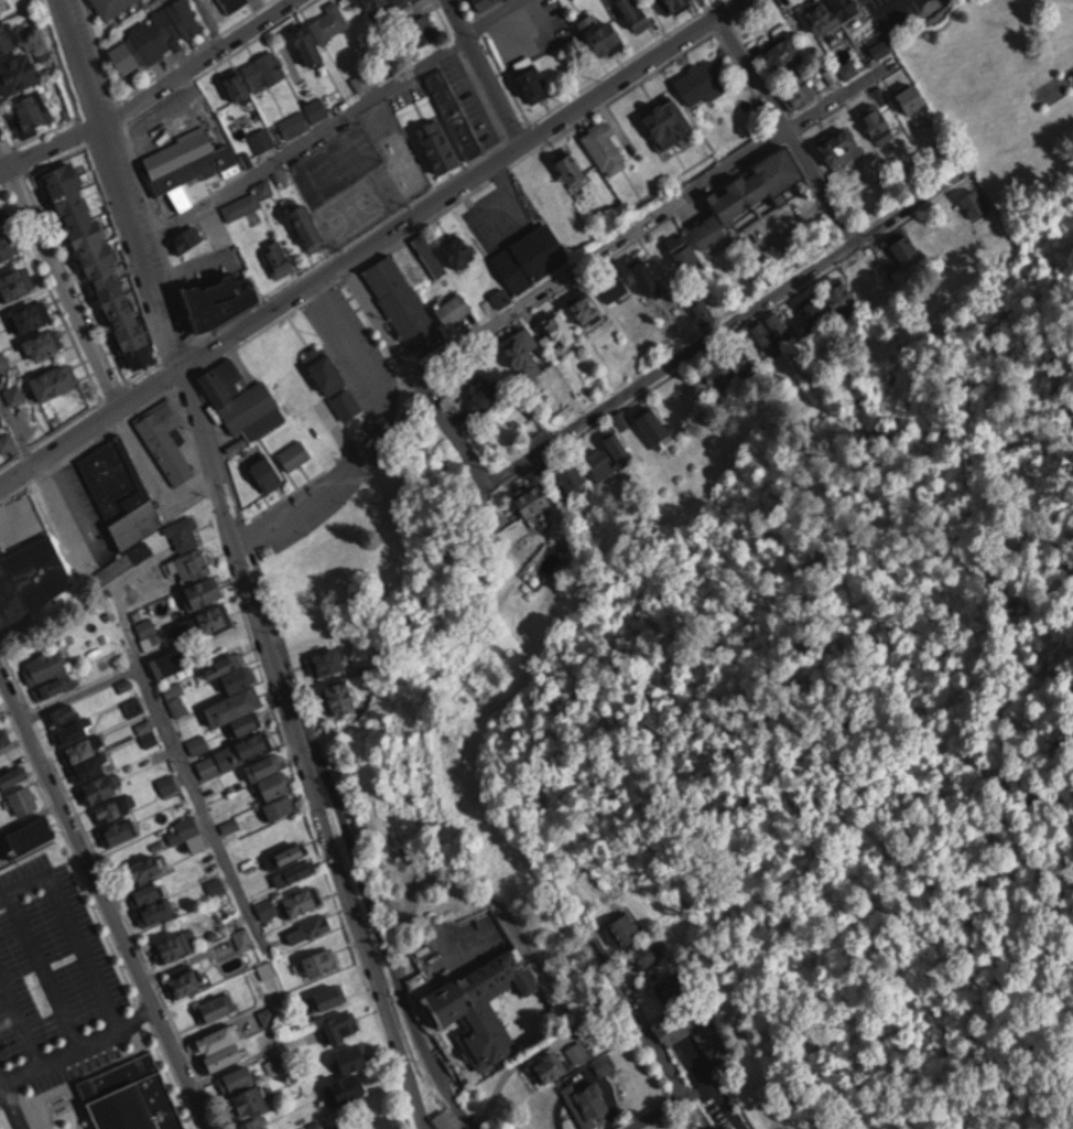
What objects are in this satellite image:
building: (358, 0)
building: (485, 2)
building: (234, 4)
building: (380, 4)
building: (673, 4)
building: (112, 6)
building: (1, 8)
building: (833, 12)
building: (637, 13)
road: (214, 23)
building: (422, 29)
building: (321, 31)
building: (603, 32)
building: (155, 35)
building: (8, 36)
building: (785, 53)
building: (847, 68)
building: (19, 72)
road: (486, 72)
building: (375, 73)
building: (256, 74)
building: (533, 78)
building: (702, 82)
road: (149, 90)
building: (800, 95)
building: (912, 96)
building: (317, 107)
building: (33, 110)
building: (455, 112)
building: (878, 119)
building: (669, 120)
building: (295, 122)
road: (330, 122)
road: (793, 122)
building: (263, 138)
building: (839, 143)
building: (440, 144)
building: (606, 148)
building: (184, 165)
building: (571, 165)
park: (339, 166)
road: (122, 181)
building: (759, 183)
building: (554, 191)
building: (248, 200)
park: (361, 202)
building: (974, 202)
building: (2, 212)
road: (651, 218)
building: (310, 225)
building: (709, 230)
building: (926, 233)
building: (185, 238)
road: (370, 244)
building: (8, 245)
building: (904, 247)
building: (460, 249)
building: (684, 249)
building: (430, 252)
building: (531, 255)
building: (278, 257)
building: (101, 266)
building: (647, 275)
road: (56, 277)
building: (870, 280)
building: (15, 281)
building: (613, 284)
building: (842, 298)
building: (224, 299)
building: (401, 300)
building: (584, 304)
building: (454, 308)
building: (704, 310)
building: (813, 310)
building: (32, 315)
road: (728, 321)
building: (770, 330)
building: (557, 332)
building: (43, 344)
building: (522, 348)
road: (422, 365)
building: (730, 370)
building: (329, 374)
building: (56, 380)
building: (15, 393)
building: (239, 396)
building: (0, 415)
road: (18, 422)
building: (653, 423)
road: (370, 433)
building: (8, 442)
building: (166, 442)
building: (619, 449)
building: (295, 454)
building: (600, 462)
building: (268, 473)
building: (572, 474)
building: (121, 491)
building: (532, 498)
building: (185, 534)
building: (42, 563)
building: (191, 564)
building: (203, 592)
building: (204, 621)
building: (148, 632)
building: (328, 660)
building: (170, 662)
building: (231, 671)
building: (48, 673)
road: (82, 689)
building: (339, 697)
building: (178, 705)
building: (238, 710)
building: (63, 713)
building: (72, 732)
building: (3, 735)
building: (198, 742)
building: (253, 743)
road: (304, 745)
building: (82, 751)
road: (182, 757)
building: (210, 764)
building: (91, 767)
building: (268, 776)
building: (12, 777)
building: (169, 783)
building: (99, 789)
building: (24, 799)
building: (115, 808)
building: (279, 808)
building: (120, 831)
building: (187, 832)
building: (31, 836)
building: (286, 856)
building: (148, 867)
building: (295, 872)
building: (216, 884)
road: (23, 885)
road: (107, 893)
building: (148, 893)
building: (301, 901)
building: (268, 906)
building: (156, 911)
building: (310, 928)
building: (625, 929)
building: (243, 937)
building: (172, 947)
road: (85, 948)
building: (647, 955)
building: (319, 963)
road: (44, 967)
parking lot: (48, 981)
building: (187, 982)
building: (672, 986)
road: (403, 996)
building: (330, 997)
building: (485, 1004)
building: (215, 1008)
road: (19, 1020)
building: (342, 1028)
road: (655, 1037)
building: (708, 1037)
road: (79, 1042)
building: (220, 1046)
building: (577, 1051)
building: (354, 1058)
building: (281, 1061)
building: (551, 1066)
building: (238, 1077)
building: (349, 1089)
building: (133, 1095)
building: (588, 1103)
road: (11, 1104)
building: (252, 1107)
building: (445, 1120)
building: (729, 1126)
building: (384, 1128)

